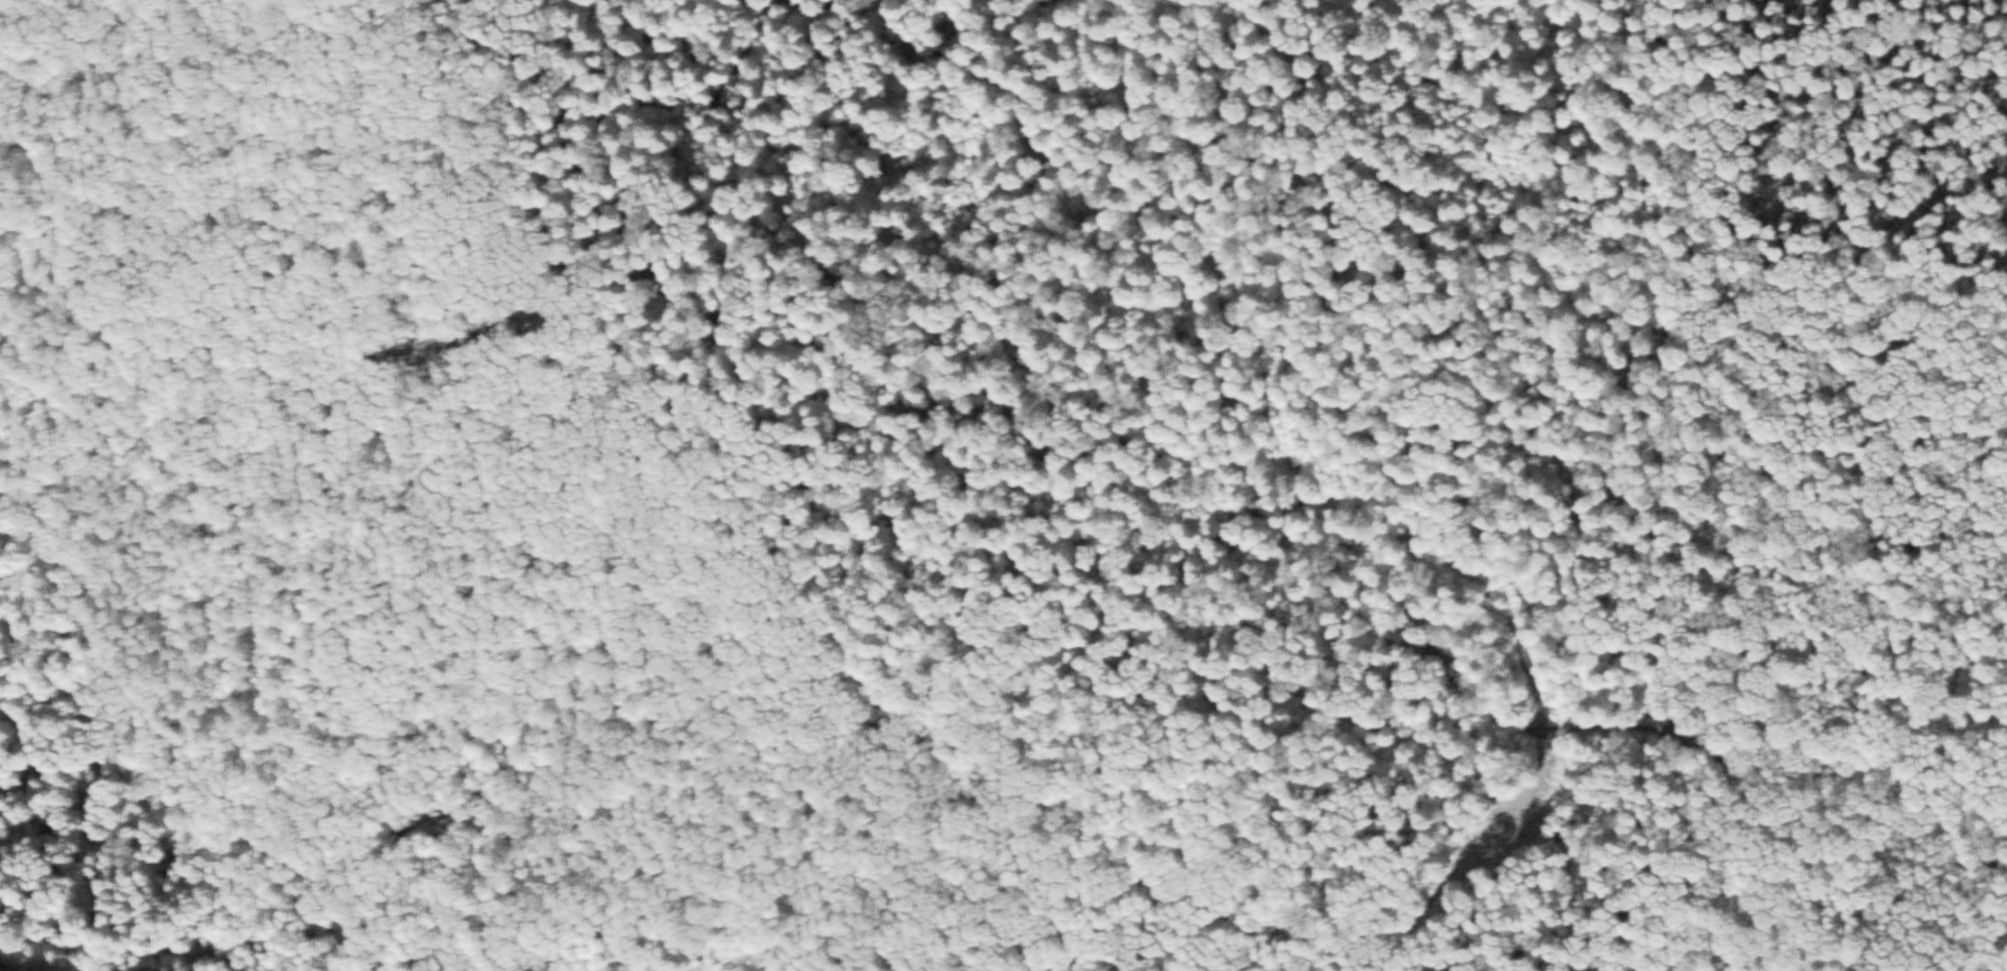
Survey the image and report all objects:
road: (1701, 460)

